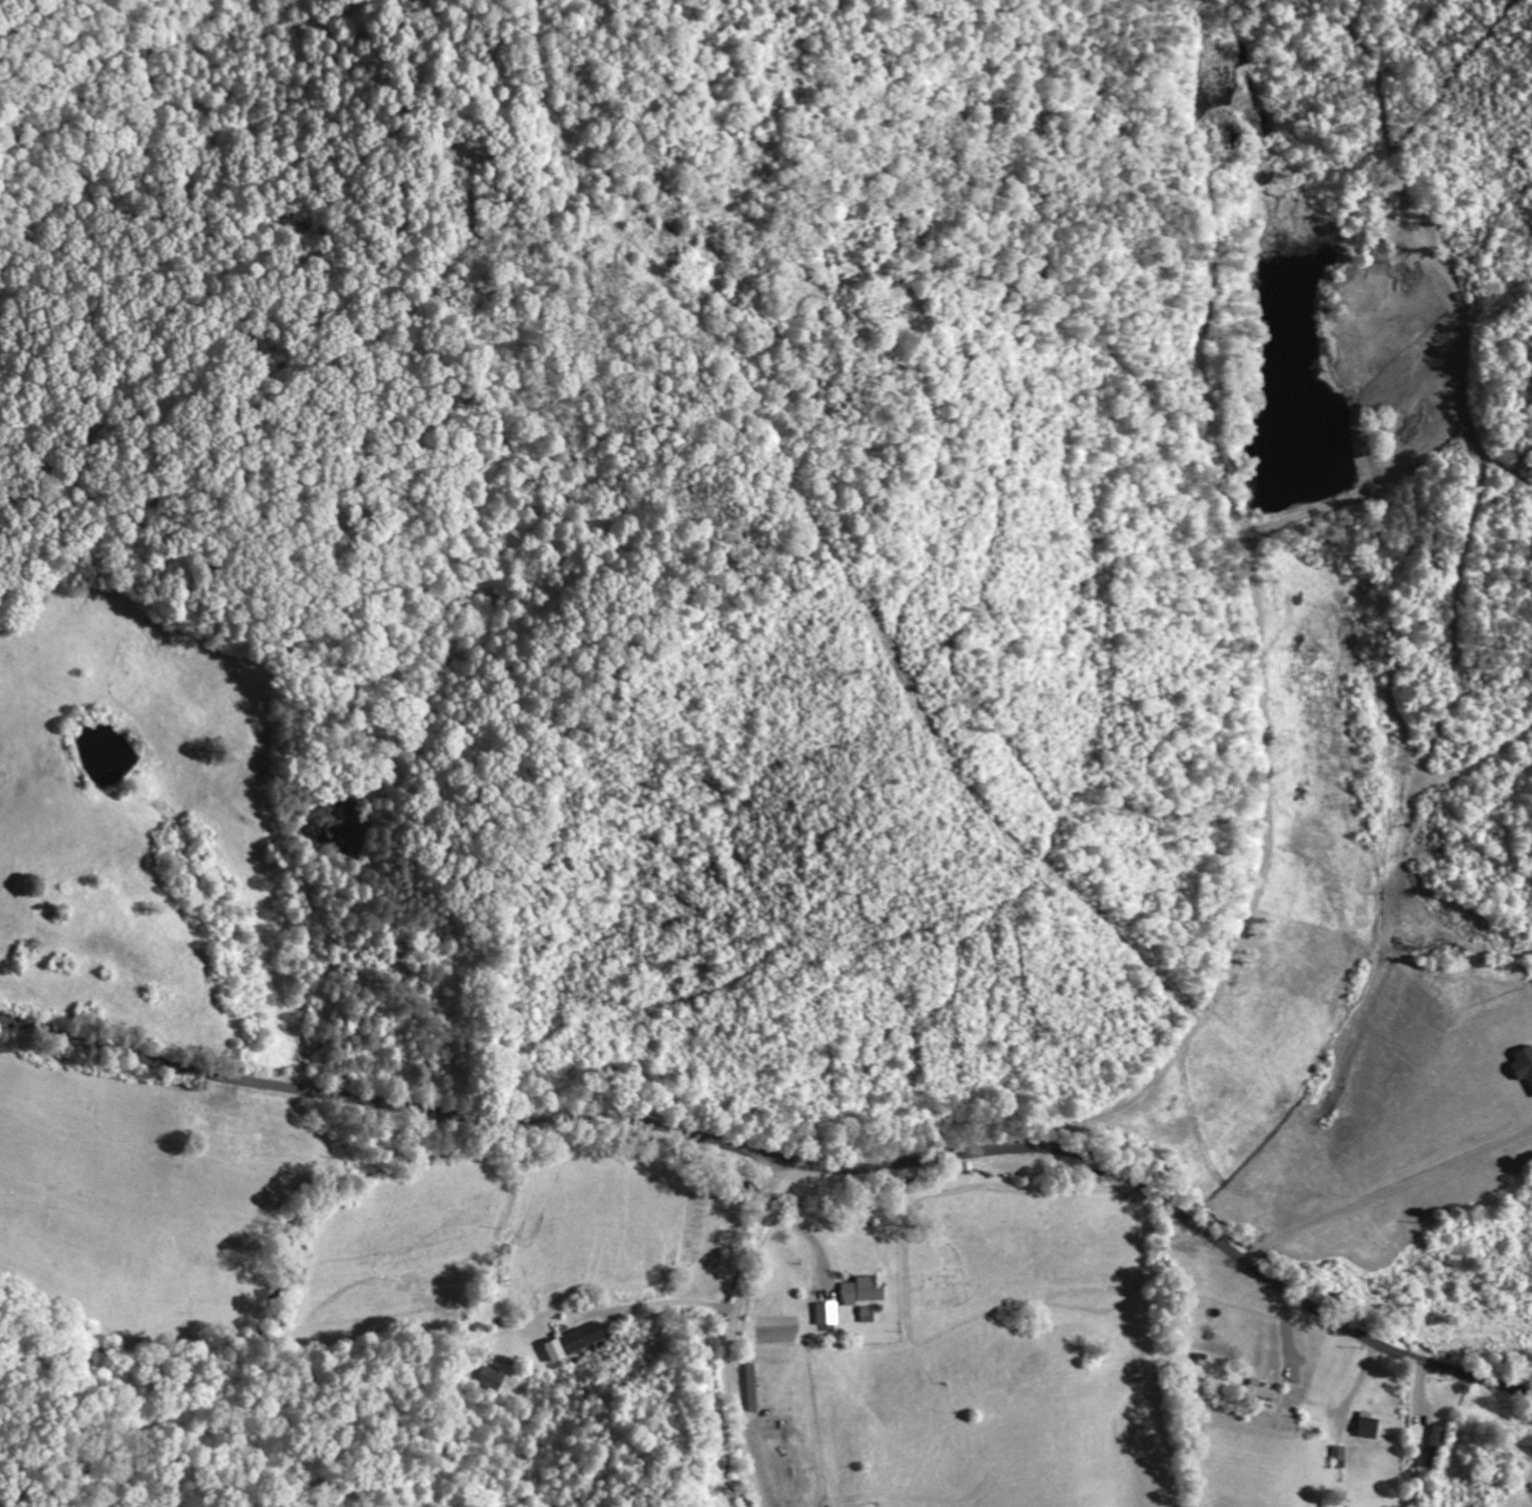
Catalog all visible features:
road: (1268, 792)
building: (1524, 1064)
road: (790, 1161)
building: (866, 1290)
building: (828, 1314)
road: (736, 1333)
building: (576, 1341)
building: (494, 1379)
building: (1370, 1425)

